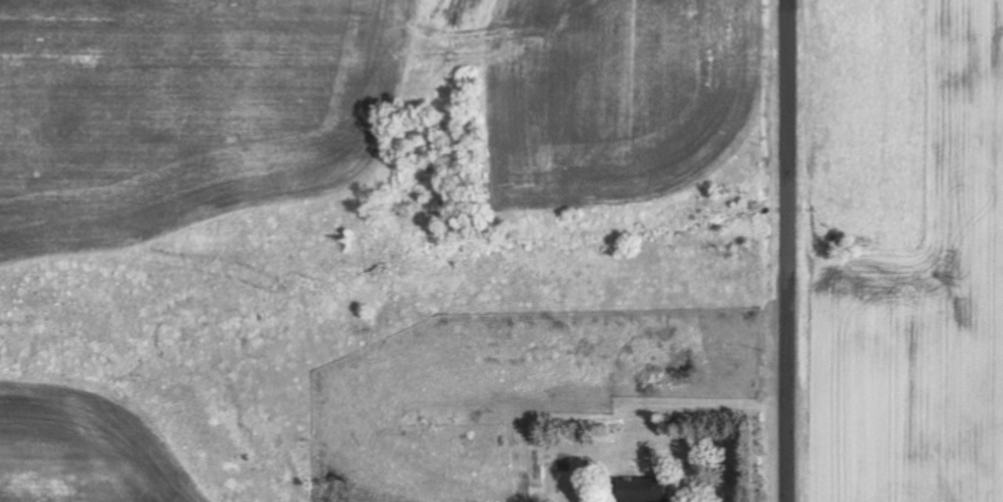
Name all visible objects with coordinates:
road: (792, 250)
building: (642, 490)

